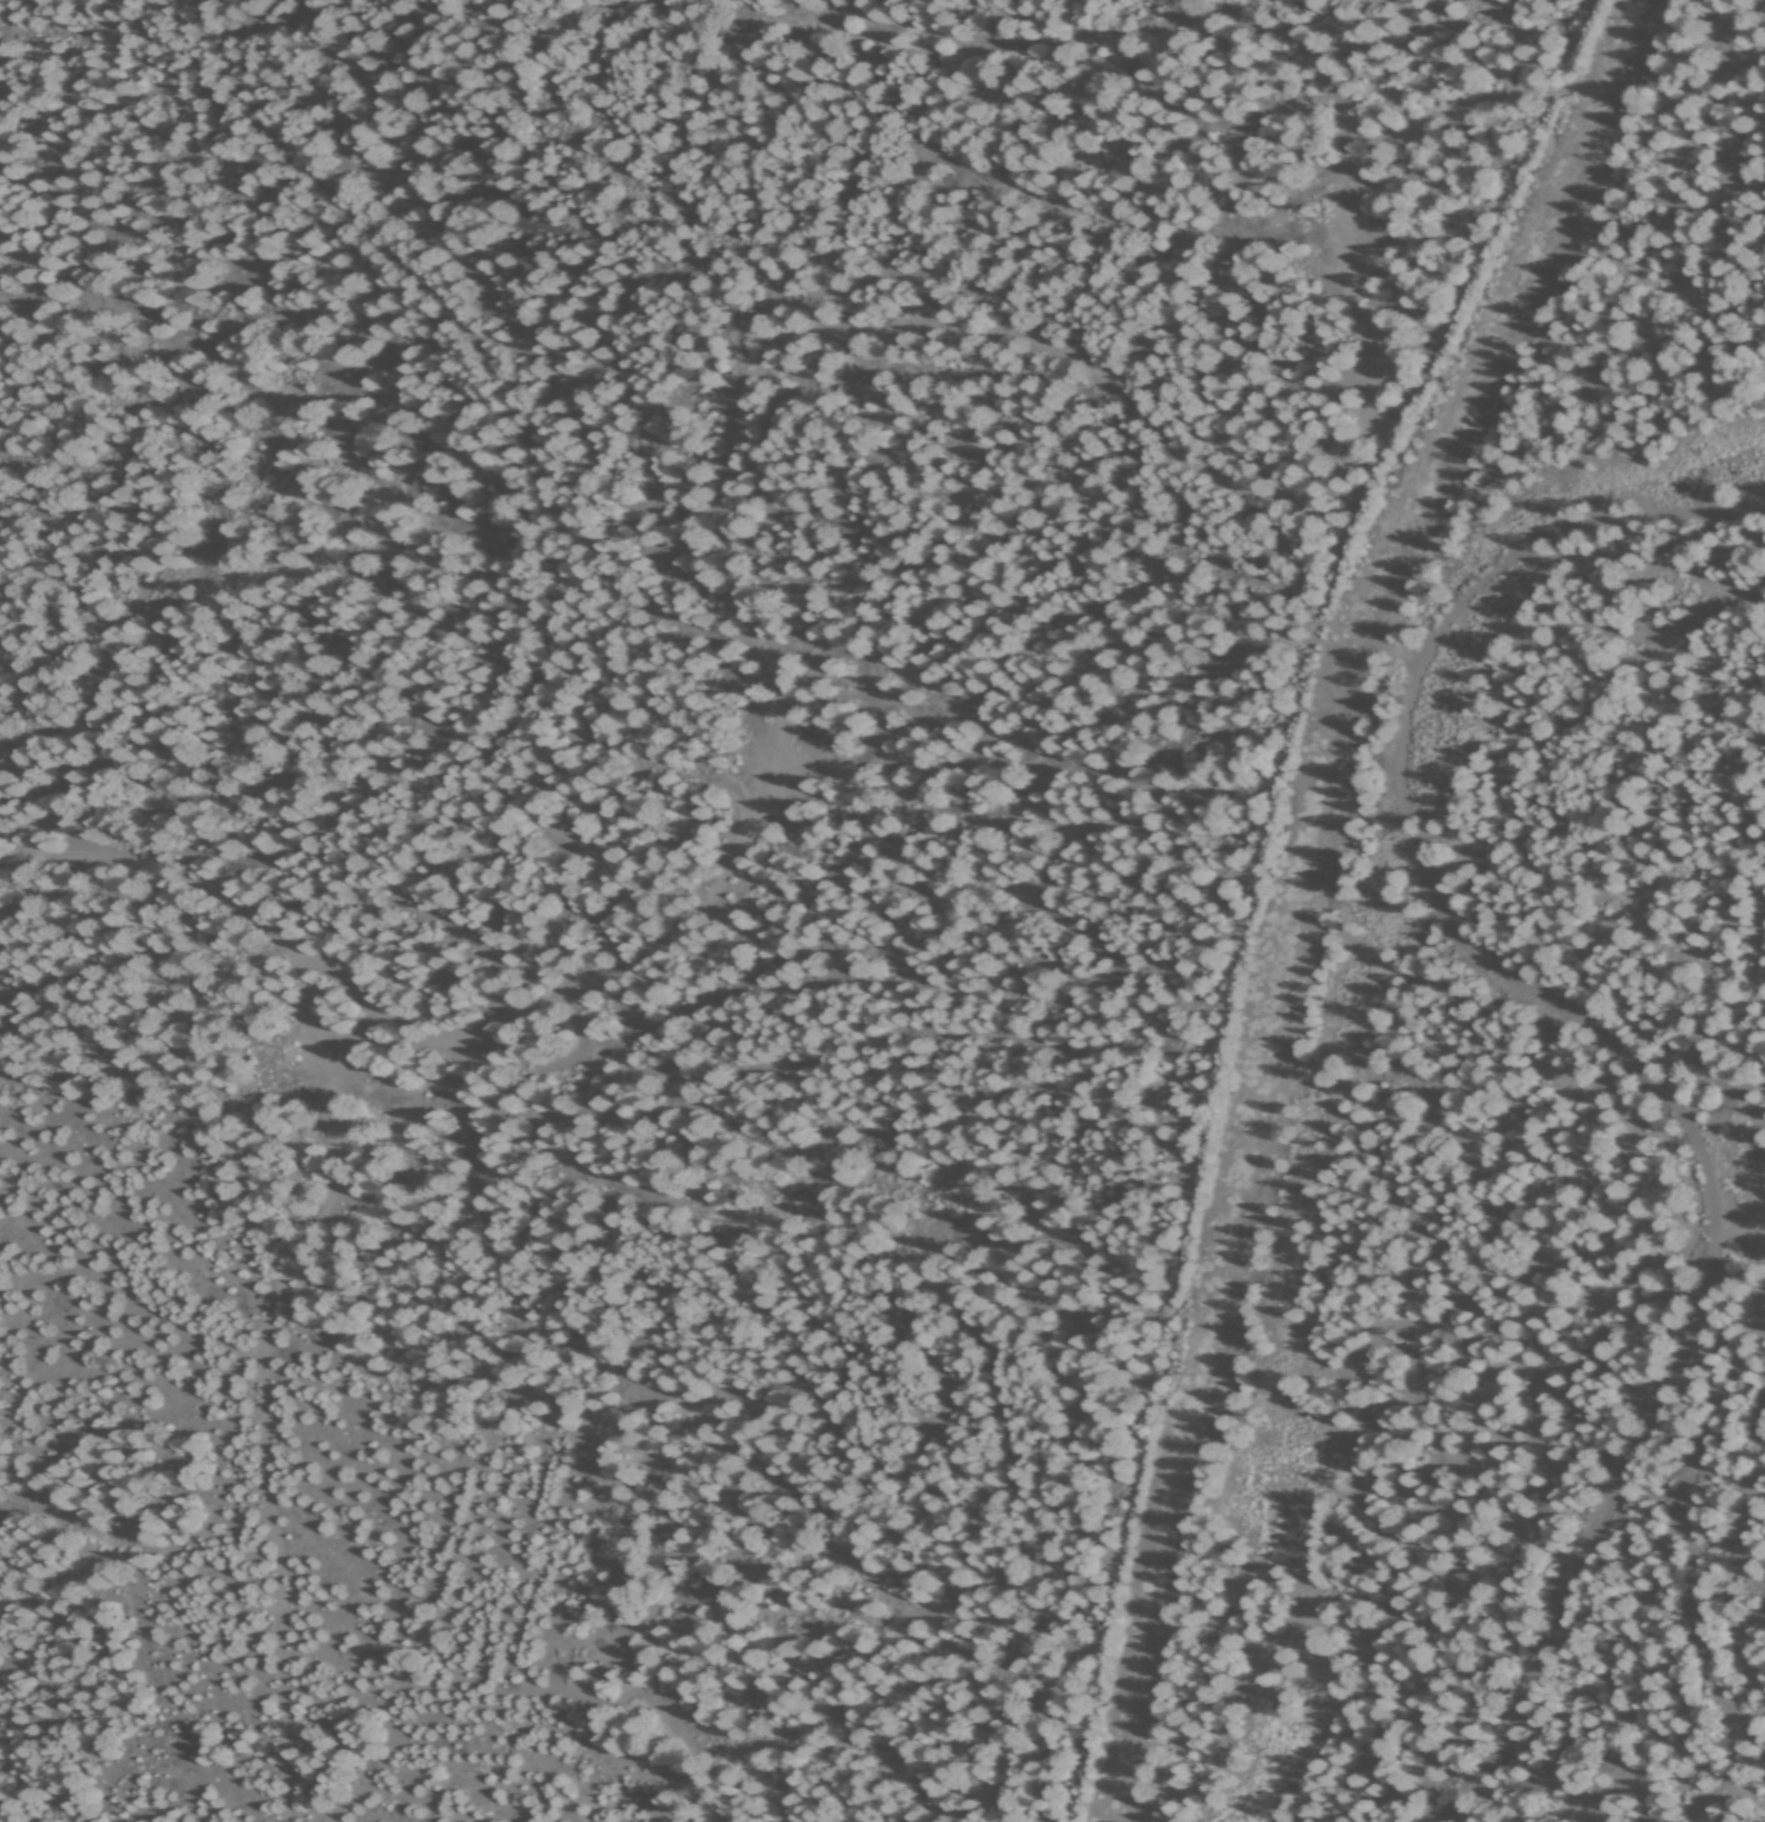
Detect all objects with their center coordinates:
road: (749, 342)
road: (1353, 697)
road: (1004, 1266)

